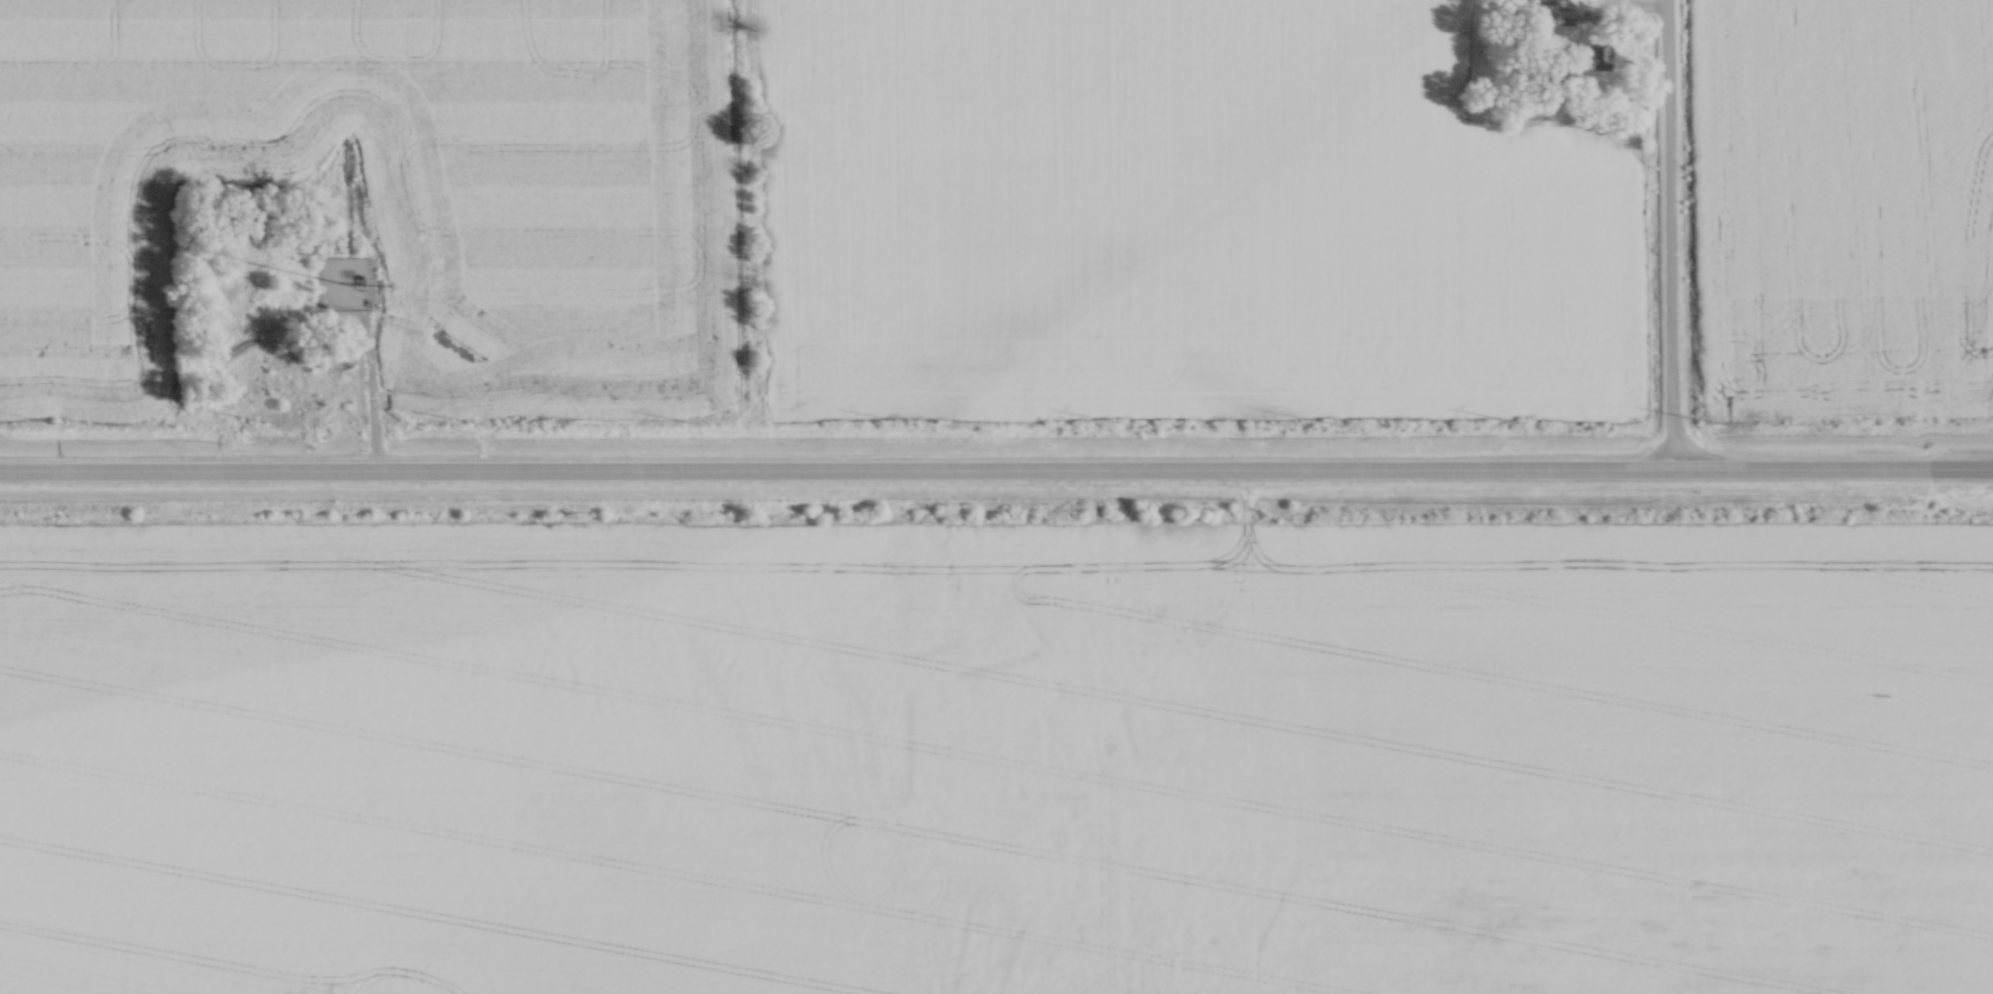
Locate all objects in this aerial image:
road: (1643, 5)
building: (1598, 57)
road: (1669, 234)
road: (369, 390)
power tower: (1910, 417)
power tower: (1701, 418)
power tower: (49, 419)
power tower: (258, 419)
power tower: (898, 419)
power tower: (1115, 419)
power tower: (1317, 419)
power tower: (1508, 419)
power tower: (473, 420)
power tower: (687, 420)
road: (996, 471)

